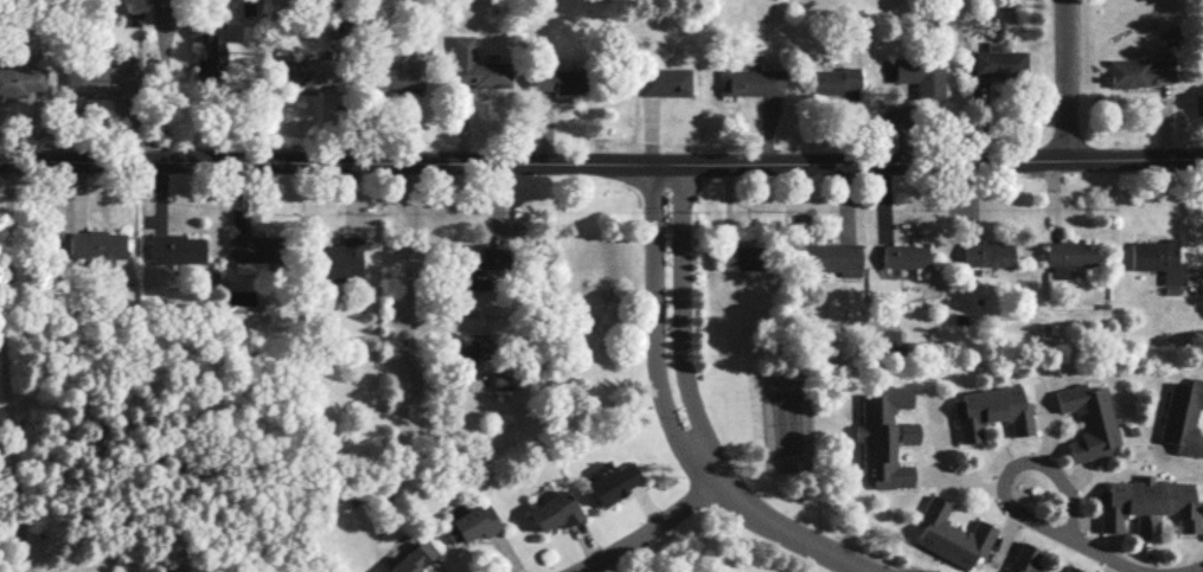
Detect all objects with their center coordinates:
building: (213, 45)
building: (1000, 63)
building: (475, 65)
building: (1141, 70)
building: (308, 71)
building: (395, 72)
building: (922, 73)
building: (558, 77)
road: (1070, 77)
building: (100, 79)
building: (834, 79)
building: (20, 81)
building: (664, 81)
building: (751, 82)
road: (601, 163)
building: (97, 246)
building: (177, 248)
building: (254, 248)
building: (987, 252)
building: (904, 255)
building: (1068, 256)
building: (742, 257)
building: (831, 257)
building: (1158, 258)
building: (339, 261)
building: (472, 269)
road: (409, 294)
road: (680, 326)
road: (651, 334)
building: (883, 339)
road: (7, 347)
building: (472, 347)
building: (991, 411)
building: (1182, 417)
building: (1088, 420)
building: (884, 436)
road: (934, 461)
road: (1013, 471)
building: (613, 481)
building: (1147, 504)
building: (556, 510)
building: (475, 522)
road: (787, 529)
road: (648, 533)
building: (951, 534)
building: (414, 558)
building: (1024, 558)
road: (1100, 558)
building: (1071, 568)

